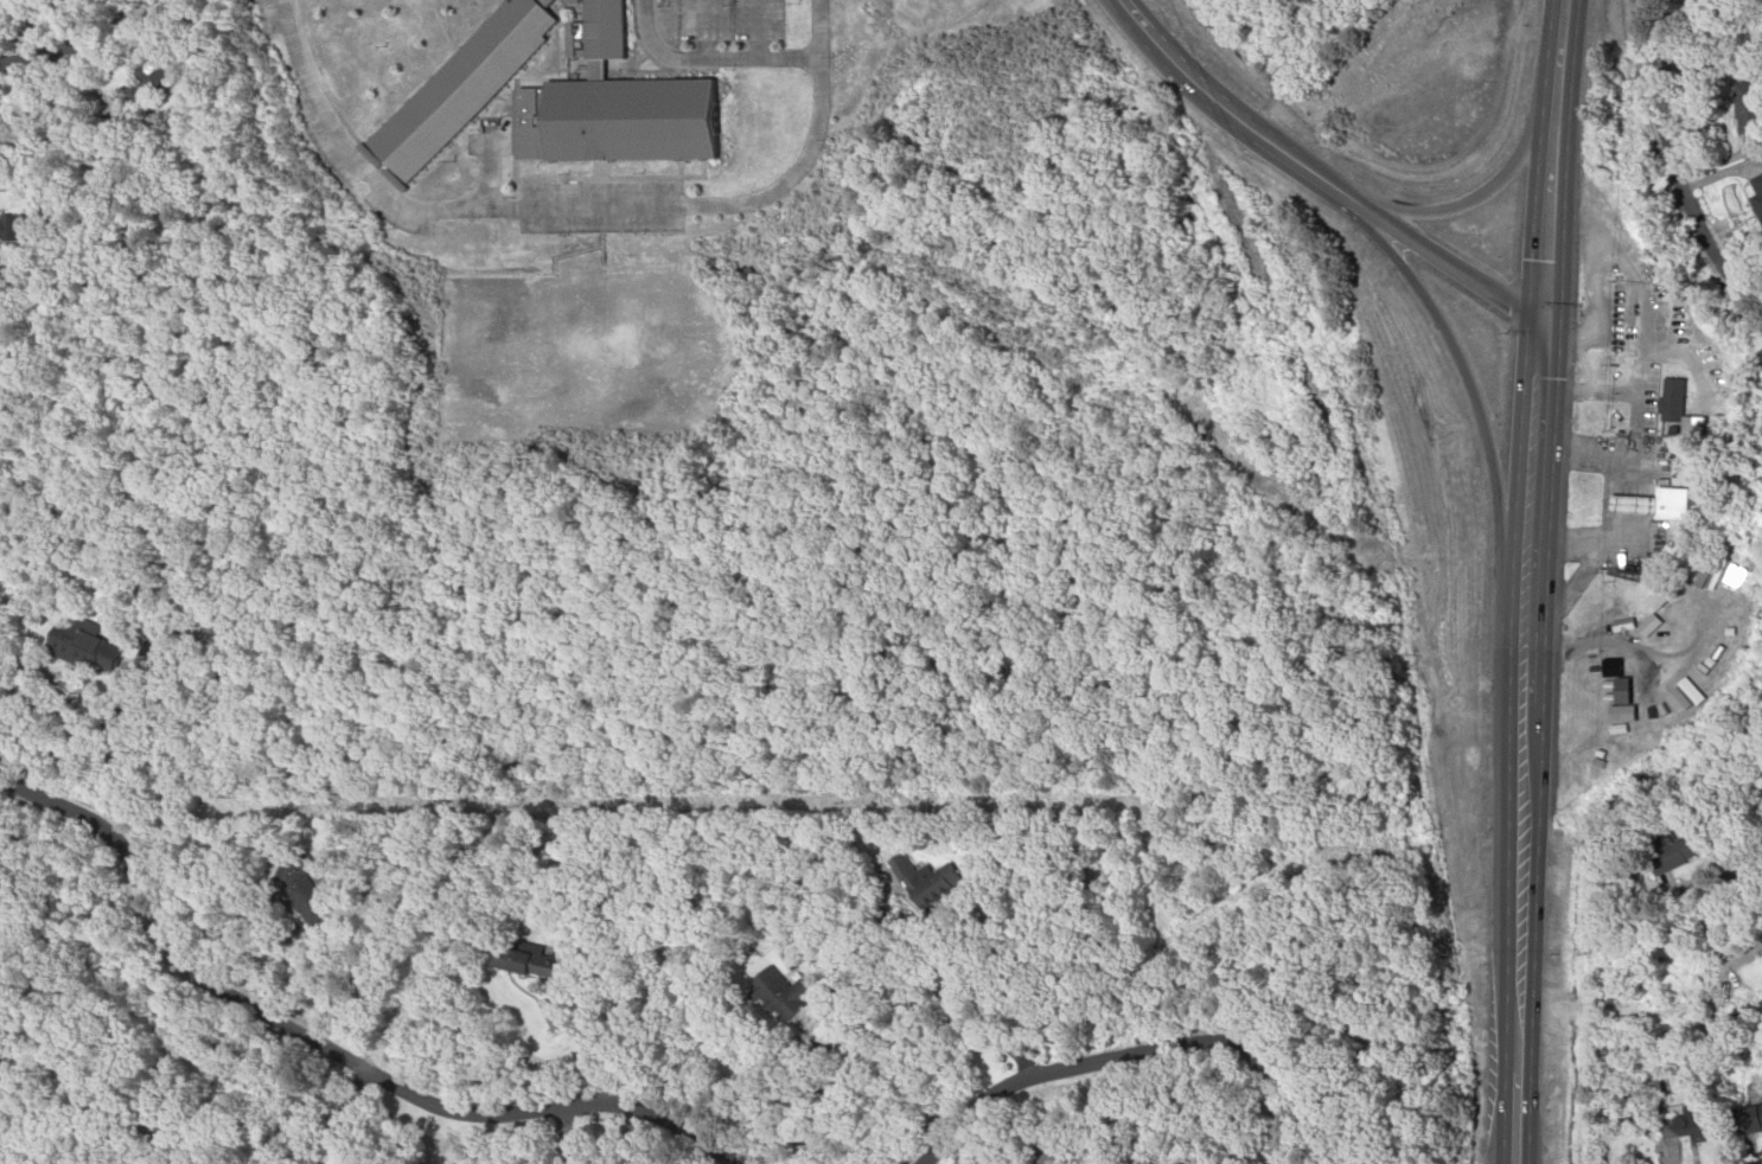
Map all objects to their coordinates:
building: (594, 30)
road: (59, 49)
road: (708, 57)
building: (458, 84)
building: (1741, 109)
building: (611, 119)
road: (1546, 159)
road: (1660, 159)
road: (1313, 177)
building: (1755, 194)
road: (566, 203)
road: (1454, 207)
building: (11, 228)
road: (1455, 352)
building: (1670, 398)
building: (1670, 501)
building: (1632, 503)
road: (1526, 509)
building: (1629, 628)
building: (84, 644)
building: (1706, 667)
building: (1611, 678)
road: (1519, 733)
building: (1637, 740)
building: (1677, 848)
road: (1758, 872)
building: (924, 882)
building: (299, 887)
road: (1514, 916)
building: (524, 961)
building: (777, 991)
road: (326, 1051)
road: (1126, 1055)
road: (1511, 1115)
building: (1698, 1123)

